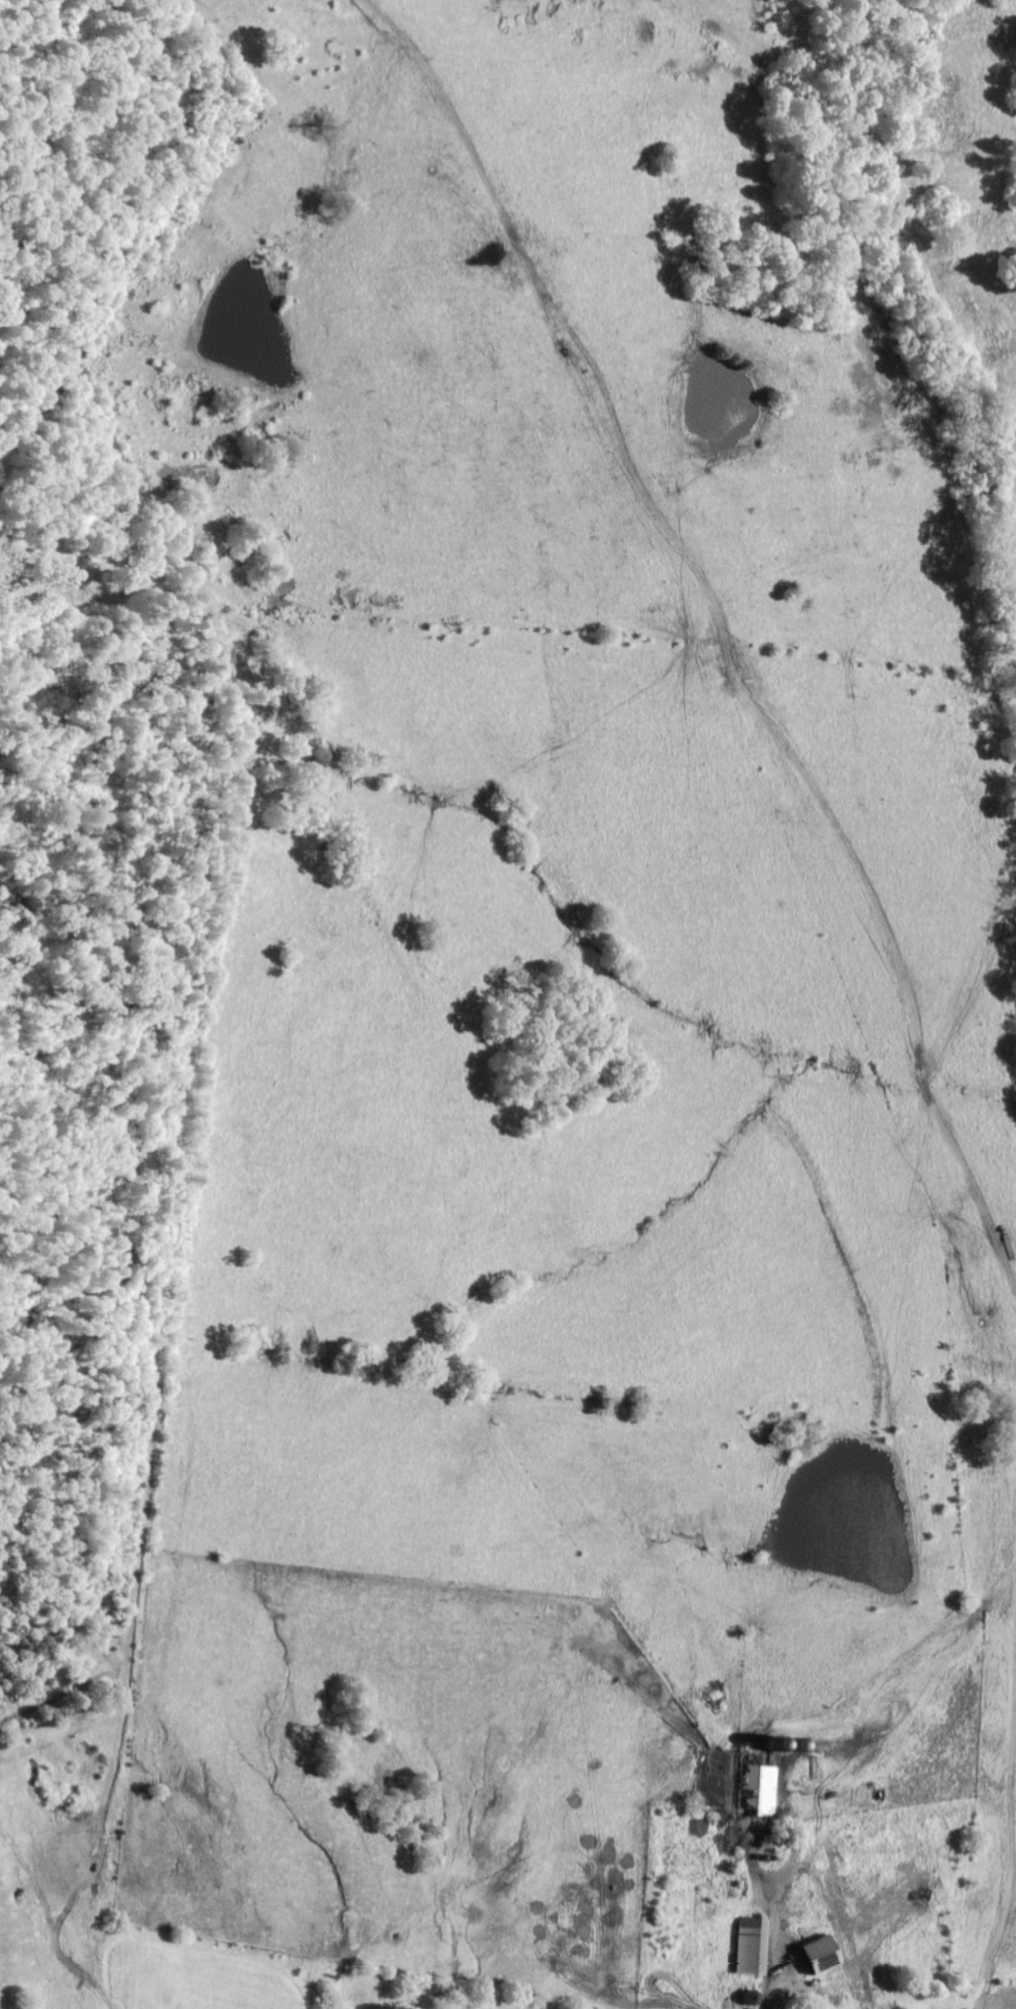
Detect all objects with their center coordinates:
building: (734, 1782)
building: (747, 1948)

